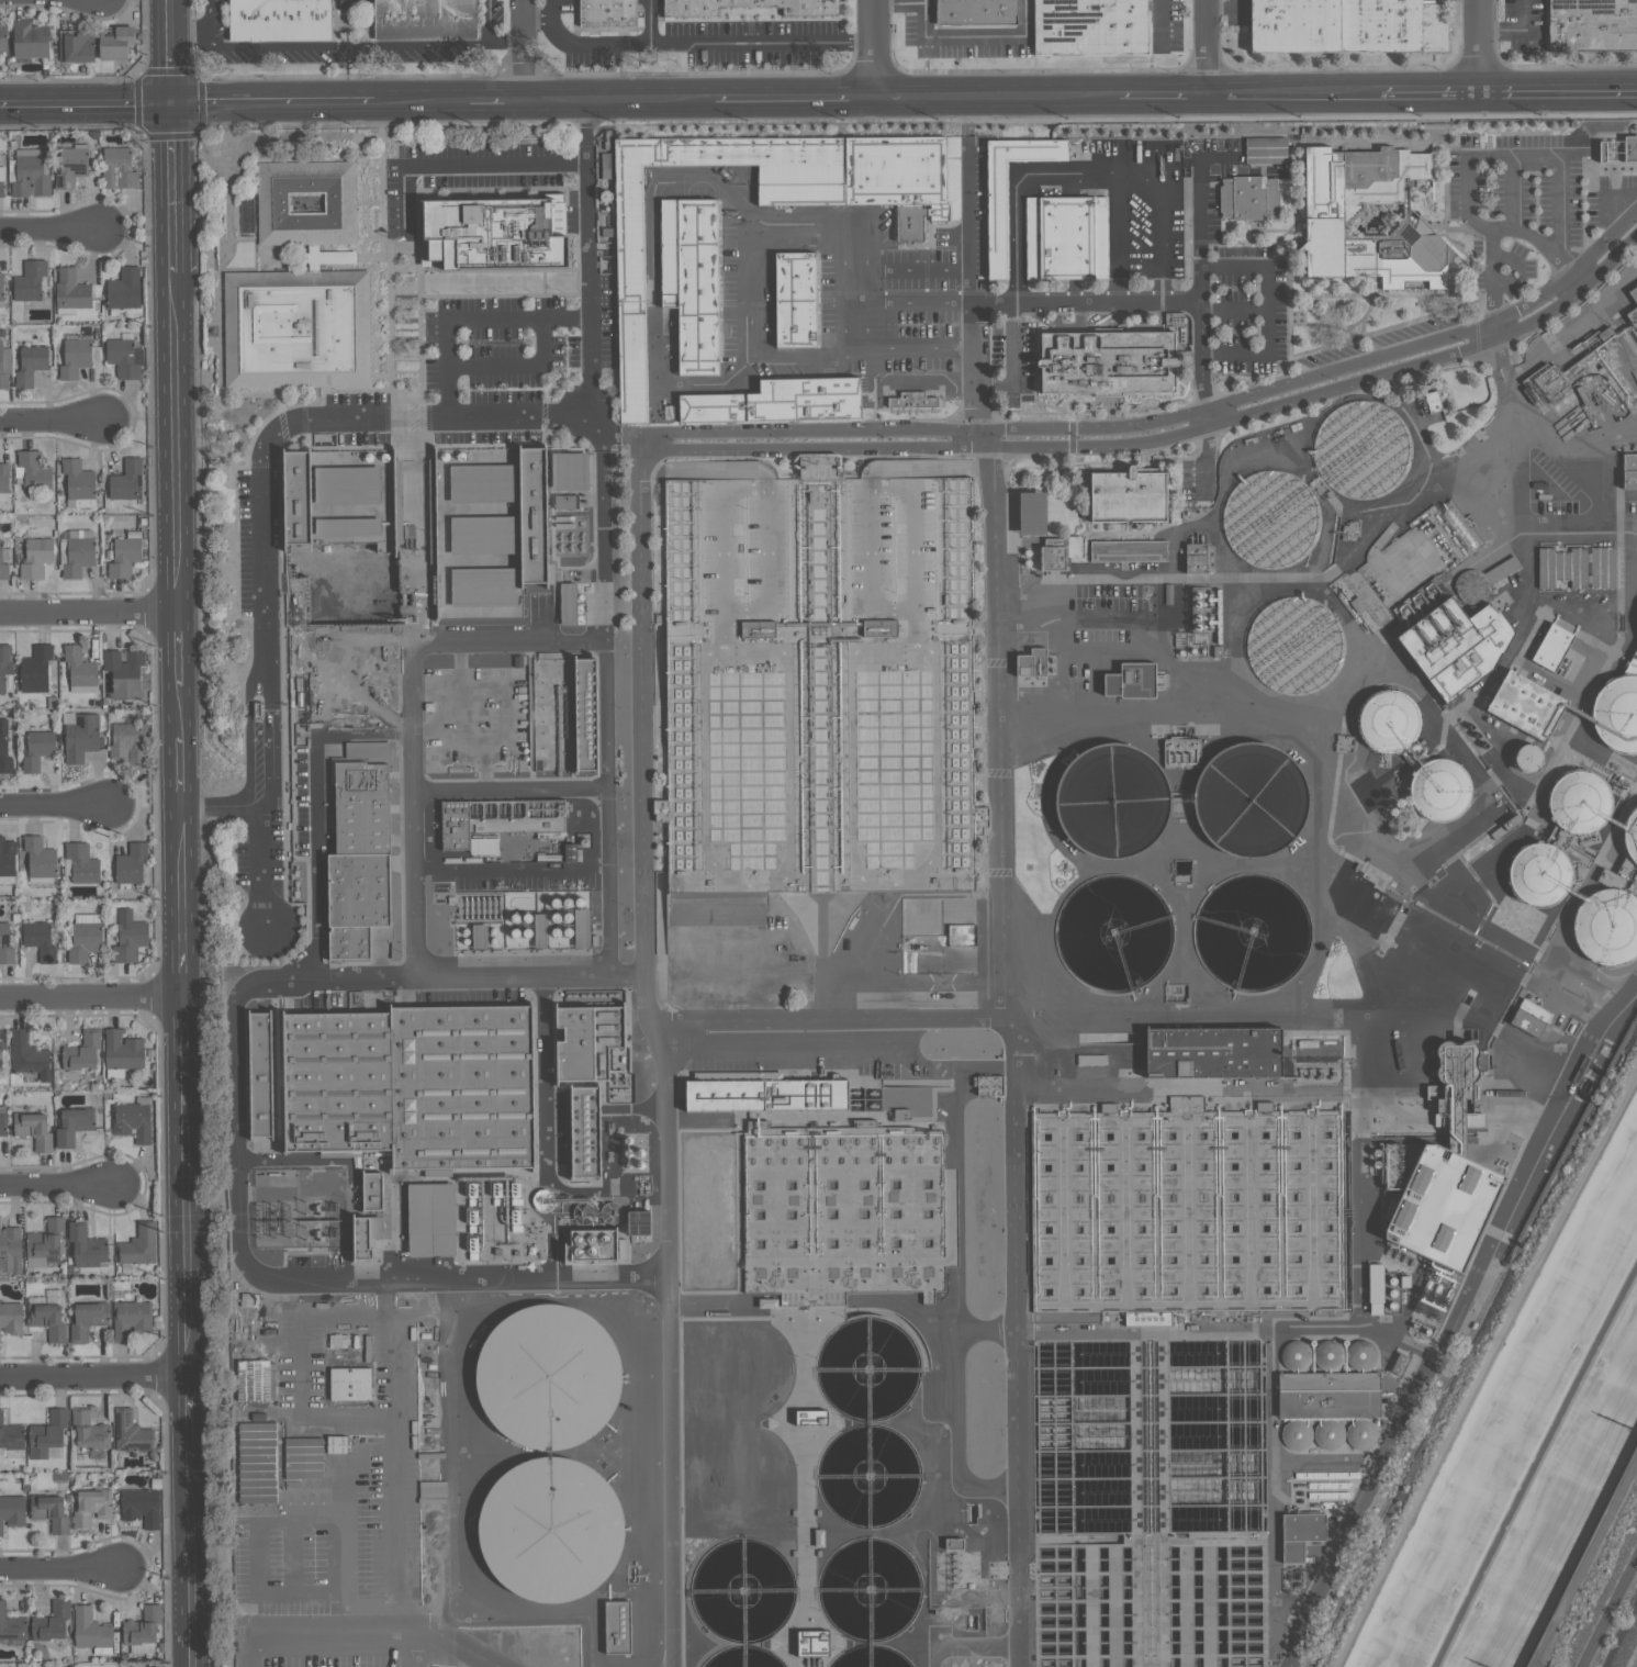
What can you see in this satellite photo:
road: (922, 1)
building: (748, 7)
road: (551, 10)
building: (975, 12)
building: (606, 13)
road: (213, 18)
road: (168, 19)
building: (423, 19)
building: (279, 20)
road: (650, 22)
road: (1166, 23)
building: (1592, 23)
building: (1346, 24)
building: (1089, 26)
road: (1516, 30)
road: (505, 36)
road: (191, 37)
road: (949, 37)
building: (3, 38)
building: (29, 40)
building: (115, 43)
road: (691, 44)
building: (76, 47)
road: (369, 47)
road: (1482, 47)
road: (1206, 49)
road: (874, 51)
road: (525, 53)
road: (169, 71)
road: (1560, 93)
road: (1432, 96)
road: (1303, 98)
road: (1171, 99)
road: (1043, 100)
road: (921, 101)
road: (795, 103)
road: (650, 104)
traffic signals: (170, 105)
road: (271, 105)
road: (554, 105)
road: (85, 107)
road: (422, 107)
road: (497, 107)
road: (585, 149)
building: (1265, 150)
building: (1629, 150)
road: (1469, 159)
road: (458, 166)
building: (69, 167)
building: (116, 168)
road: (1084, 174)
building: (30, 177)
road: (170, 188)
building: (1, 189)
road: (1197, 194)
building: (1248, 197)
road: (969, 201)
building: (305, 203)
building: (759, 204)
road: (1615, 206)
building: (1328, 216)
building: (997, 220)
road: (48, 231)
building: (495, 232)
building: (1064, 238)
road: (1113, 238)
building: (334, 257)
road: (864, 258)
road: (1241, 268)
road: (918, 271)
road: (1491, 273)
building: (691, 280)
building: (29, 281)
road: (653, 281)
road: (752, 284)
building: (0, 286)
building: (123, 289)
building: (70, 290)
building: (795, 299)
road: (919, 301)
road: (1085, 301)
road: (588, 303)
building: (1633, 309)
road: (469, 318)
road: (866, 326)
building: (295, 329)
road: (1485, 331)
road: (919, 351)
building: (74, 358)
building: (124, 358)
building: (1108, 360)
road: (972, 363)
building: (30, 365)
road: (513, 366)
building: (3, 367)
road: (1014, 367)
building: (911, 400)
building: (776, 401)
road: (1211, 414)
road: (291, 418)
road: (1163, 418)
road: (51, 422)
road: (974, 435)
road: (1162, 436)
road: (1543, 439)
road: (171, 440)
building: (1358, 449)
storage tank: (1361, 450)
building: (1629, 469)
building: (569, 470)
building: (33, 471)
building: (3, 477)
building: (77, 479)
building: (124, 481)
building: (482, 483)
building: (1126, 496)
building: (338, 499)
building: (564, 502)
building: (1031, 514)
building: (532, 515)
road: (1524, 515)
building: (1270, 518)
storage tank: (1270, 518)
road: (602, 524)
road: (1629, 525)
building: (483, 536)
building: (1075, 546)
building: (1128, 551)
building: (77, 556)
building: (123, 557)
building: (1196, 557)
building: (35, 558)
building: (1052, 558)
building: (1577, 567)
building: (2, 568)
building: (483, 586)
building: (567, 603)
road: (86, 609)
storage tank: (1294, 642)
building: (1293, 644)
building: (1455, 645)
road: (171, 647)
building: (1551, 647)
building: (4, 661)
road: (363, 662)
building: (1031, 662)
building: (35, 667)
building: (79, 668)
building: (124, 672)
building: (1131, 680)
building: (819, 684)
building: (1525, 704)
road: (408, 705)
road: (605, 706)
road: (172, 709)
building: (584, 714)
building: (1616, 714)
storage tank: (1616, 714)
building: (1386, 721)
storage tank: (1386, 721)
building: (79, 738)
building: (127, 742)
building: (4, 749)
building: (36, 751)
road: (260, 756)
building: (1527, 758)
storage tank: (1527, 758)
road: (173, 769)
storage tank: (1438, 790)
building: (1439, 790)
road: (508, 791)
storage tank: (1249, 797)
storage tank: (1111, 801)
building: (1578, 802)
storage tank: (1578, 802)
road: (52, 803)
road: (314, 806)
road: (217, 809)
building: (496, 819)
building: (1484, 823)
building: (1630, 836)
storage tank: (1630, 836)
building: (358, 851)
building: (7, 858)
building: (40, 858)
building: (81, 863)
building: (130, 865)
road: (260, 868)
road: (509, 870)
building: (1538, 874)
storage tank: (1538, 874)
road: (175, 898)
wastewater plant: (1042, 907)
building: (1606, 928)
storage tank: (1606, 928)
storage tank: (1253, 931)
storage tank: (1113, 933)
building: (127, 938)
building: (38, 940)
building: (83, 941)
building: (1428, 944)
building: (4, 946)
road: (88, 997)
road: (1298, 1008)
building: (1528, 1018)
road: (831, 1019)
road: (178, 1036)
building: (2, 1039)
building: (586, 1042)
road: (661, 1048)
building: (81, 1051)
building: (122, 1051)
building: (1212, 1052)
road: (1018, 1053)
building: (27, 1056)
building: (0, 1063)
building: (259, 1074)
building: (411, 1085)
building: (986, 1085)
building: (1454, 1085)
building: (765, 1096)
building: (131, 1121)
building: (2, 1125)
building: (72, 1126)
building: (32, 1130)
building: (584, 1132)
road: (238, 1137)
road: (56, 1187)
building: (371, 1191)
building: (1442, 1205)
building: (842, 1215)
building: (1197, 1219)
building: (430, 1220)
building: (638, 1222)
road: (181, 1223)
building: (365, 1235)
building: (44, 1239)
building: (596, 1245)
building: (86, 1246)
building: (137, 1246)
building: (10, 1251)
building: (123, 1297)
road: (1454, 1317)
building: (10, 1319)
building: (130, 1319)
building: (45, 1320)
building: (86, 1321)
road: (1480, 1366)
storage tank: (867, 1368)
road: (304, 1369)
road: (91, 1374)
storage tank: (547, 1375)
building: (349, 1385)
building: (1332, 1385)
road: (184, 1414)
building: (88, 1431)
building: (128, 1432)
building: (45, 1434)
building: (10, 1435)
building: (337, 1444)
road: (392, 1451)
building: (549, 1451)
building: (302, 1457)
river: (1534, 1462)
building: (256, 1463)
storage tank: (868, 1476)
building: (90, 1507)
building: (139, 1507)
building: (11, 1511)
building: (48, 1512)
road: (272, 1522)
storage tank: (548, 1530)
building: (1300, 1534)
road: (187, 1562)
road: (58, 1569)
building: (1120, 1587)
storage tank: (870, 1588)
storage tank: (741, 1590)
road: (1611, 1614)
building: (49, 1622)
building: (11, 1625)
building: (141, 1626)
building: (89, 1629)
building: (616, 1629)
road: (326, 1630)
road: (450, 1641)
building: (806, 1645)
road: (406, 1647)
road: (253, 1648)
storage tank: (870, 1657)
storage tank: (743, 1658)

